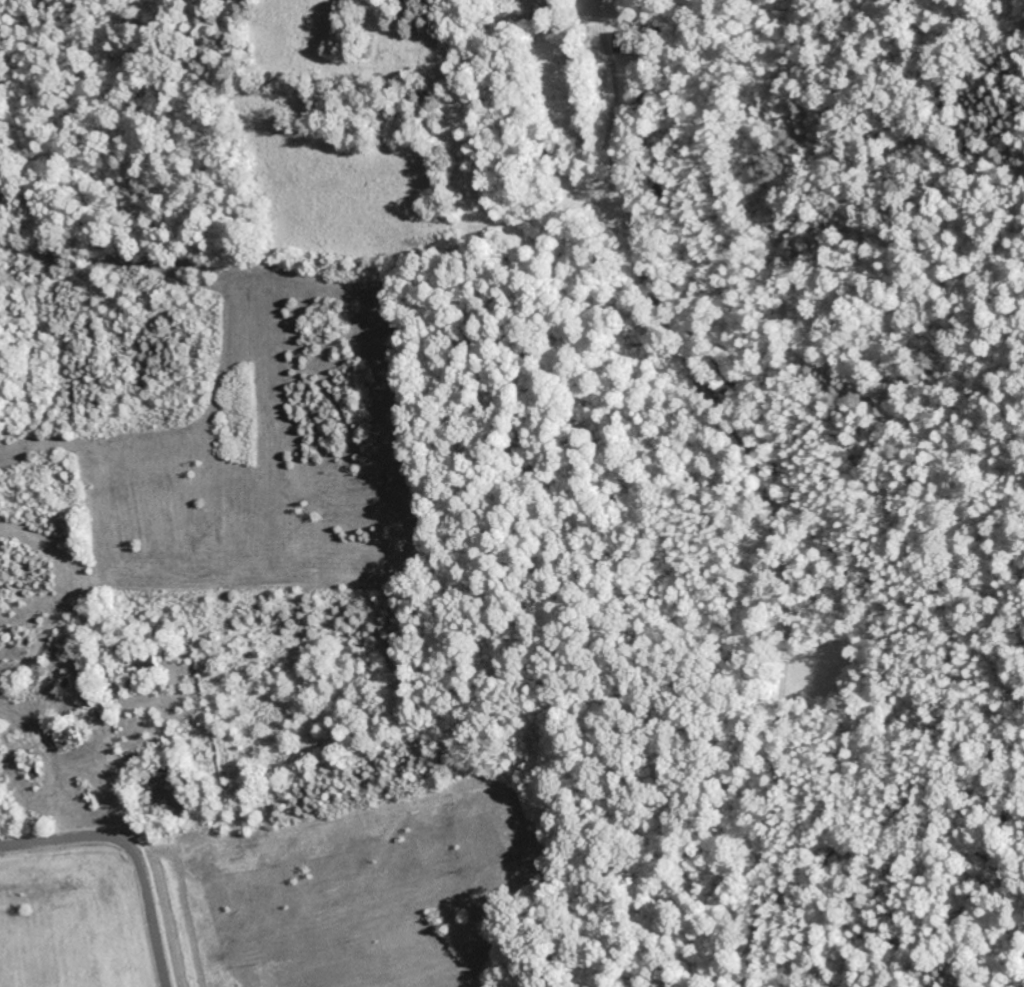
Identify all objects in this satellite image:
road: (134, 855)

